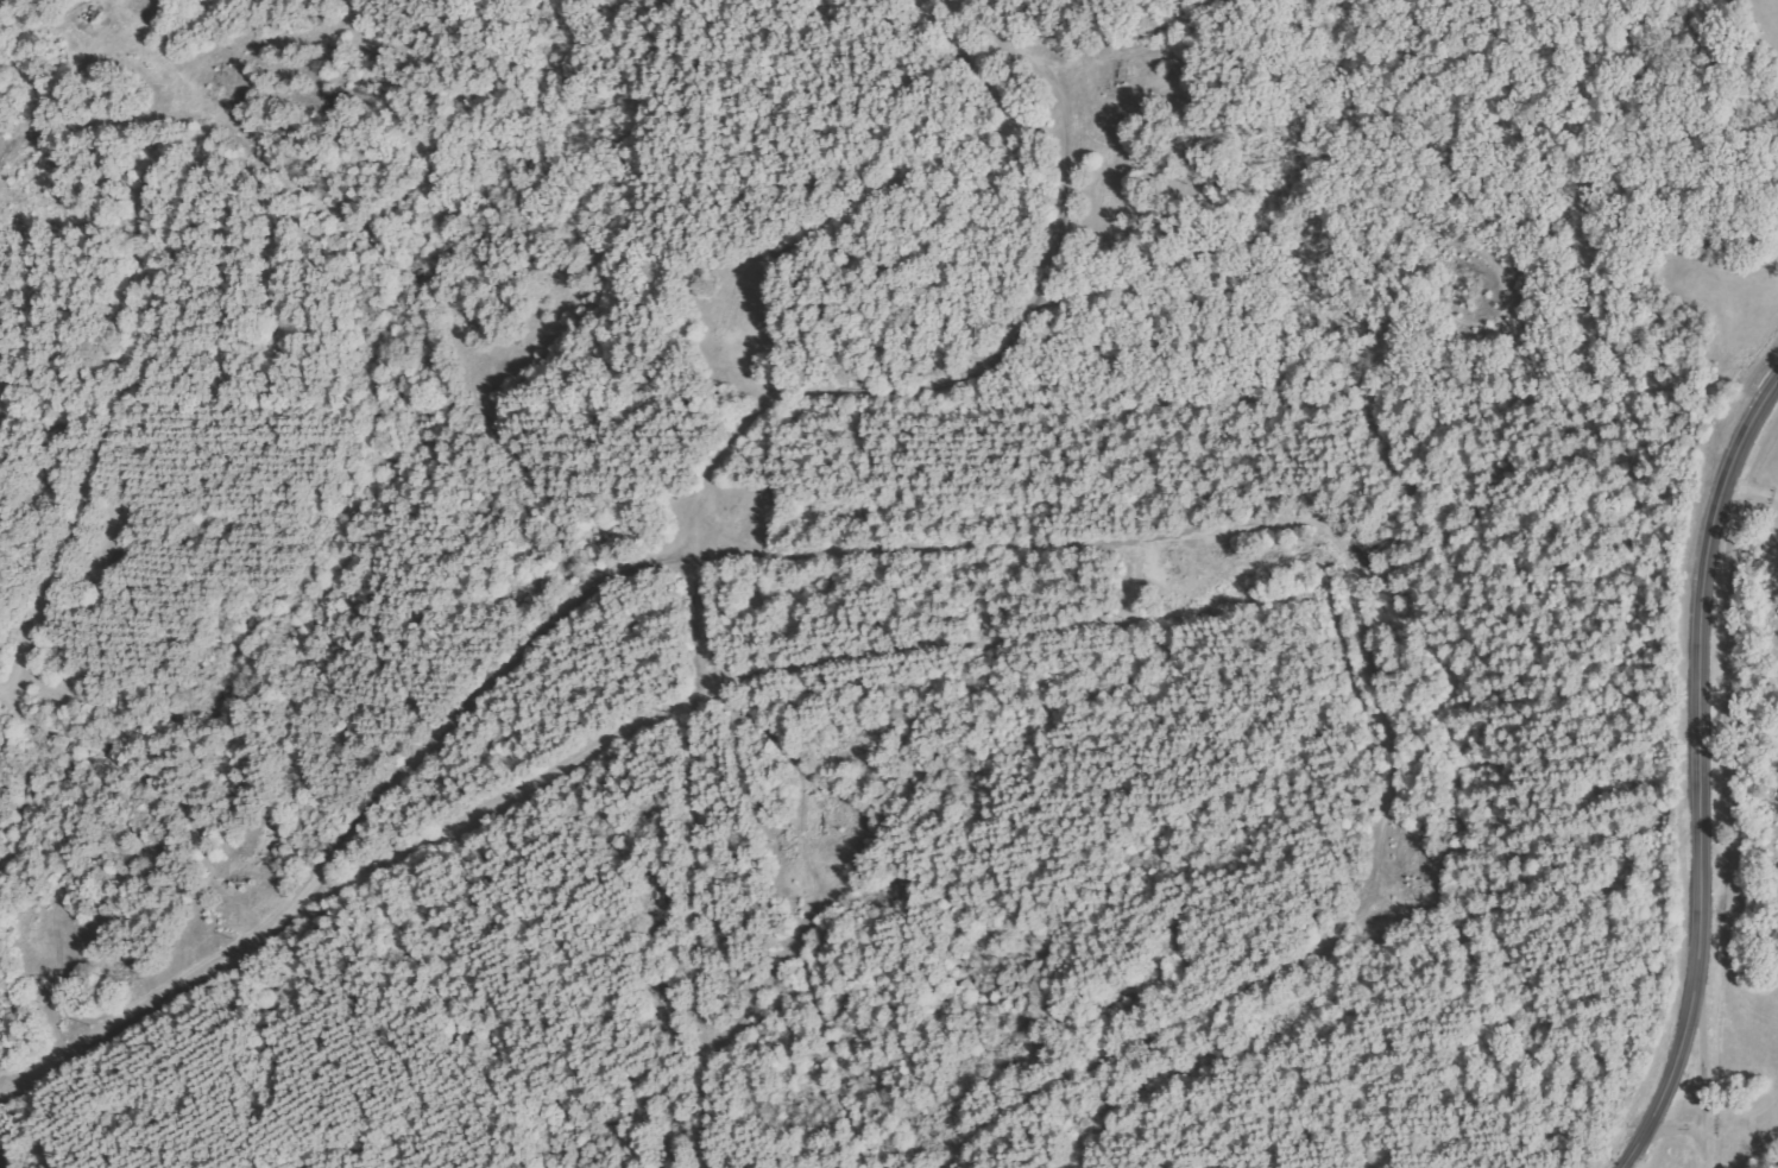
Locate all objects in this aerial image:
road: (994, 36)
road: (203, 121)
road: (931, 387)
road: (1749, 492)
road: (593, 586)
road: (1703, 776)
road: (696, 863)
road: (807, 863)
road: (1301, 957)
road: (1701, 1079)

